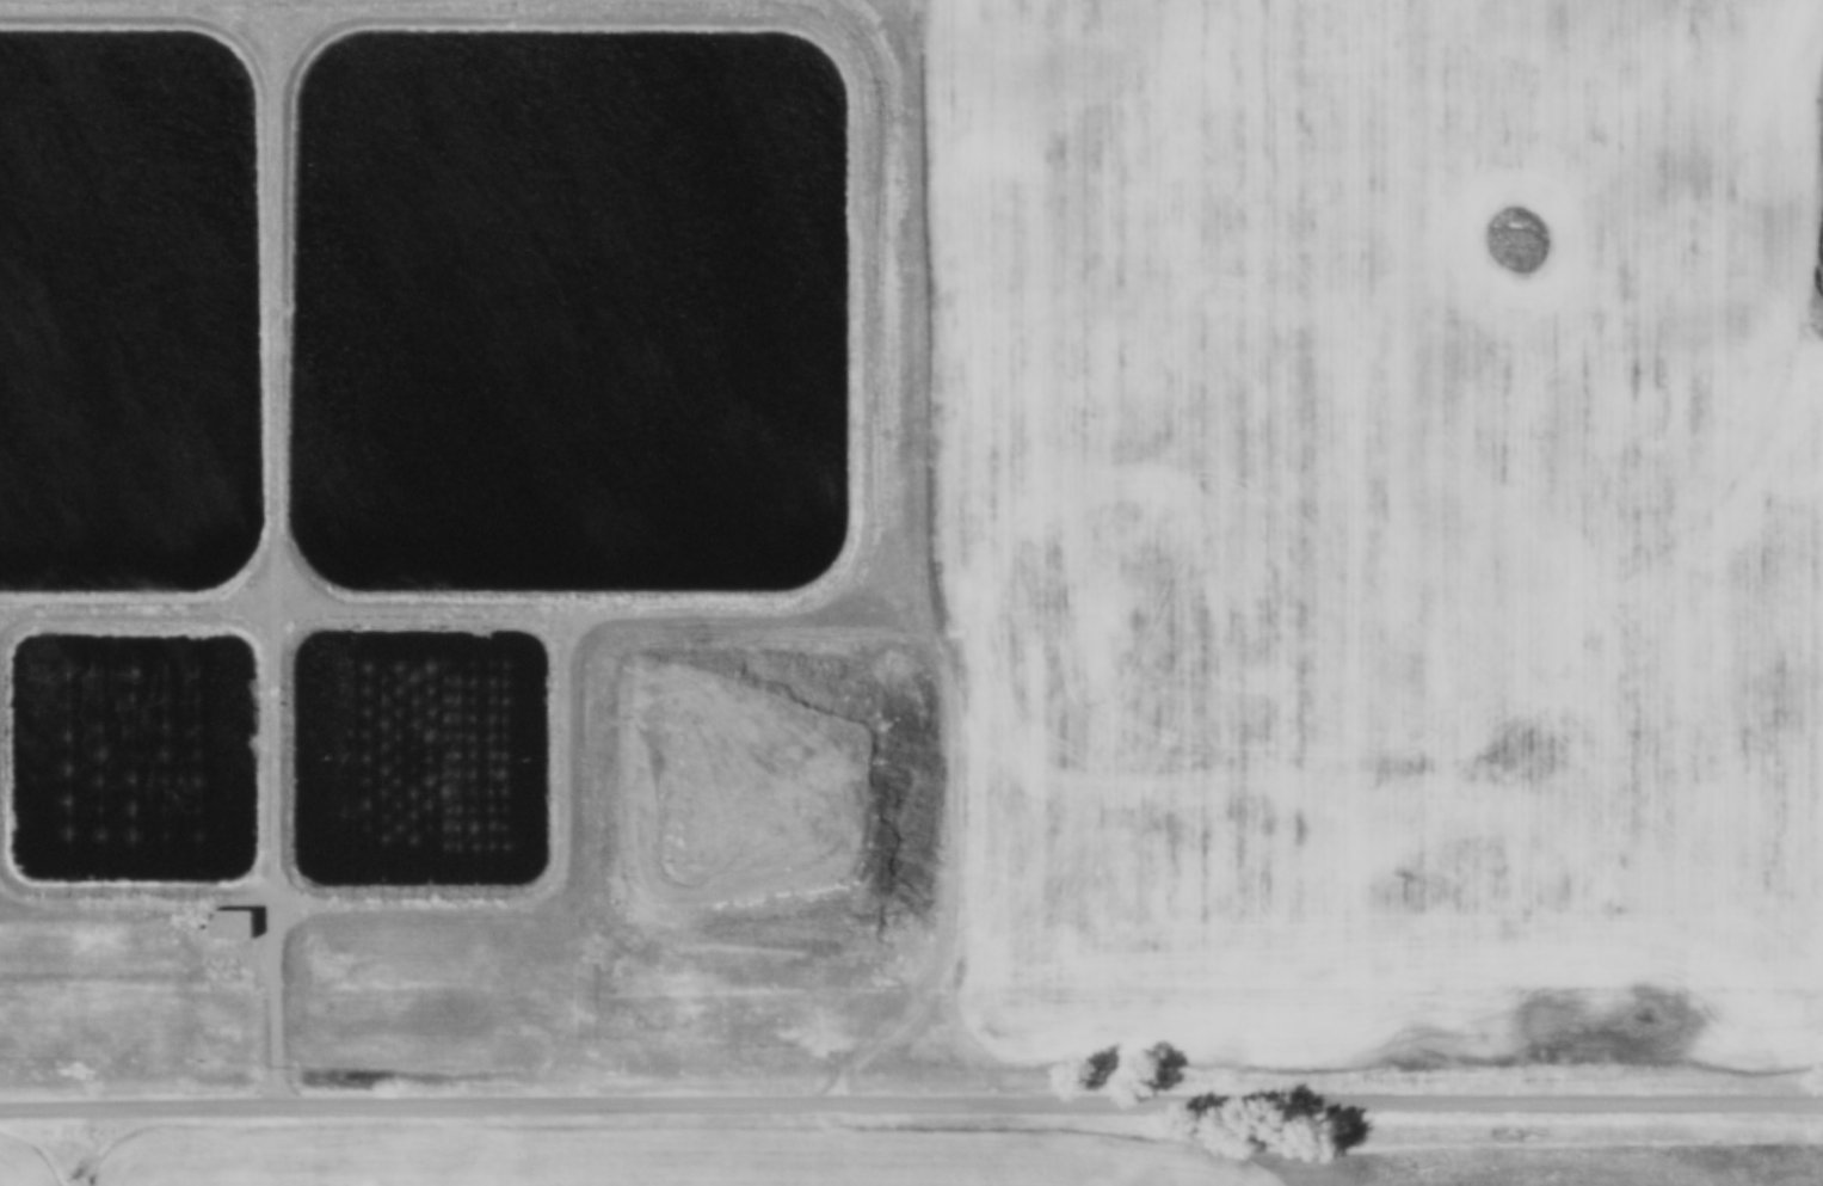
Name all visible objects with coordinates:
road: (271, 552)
road: (731, 602)
road: (412, 893)
building: (226, 914)
road: (911, 1102)

